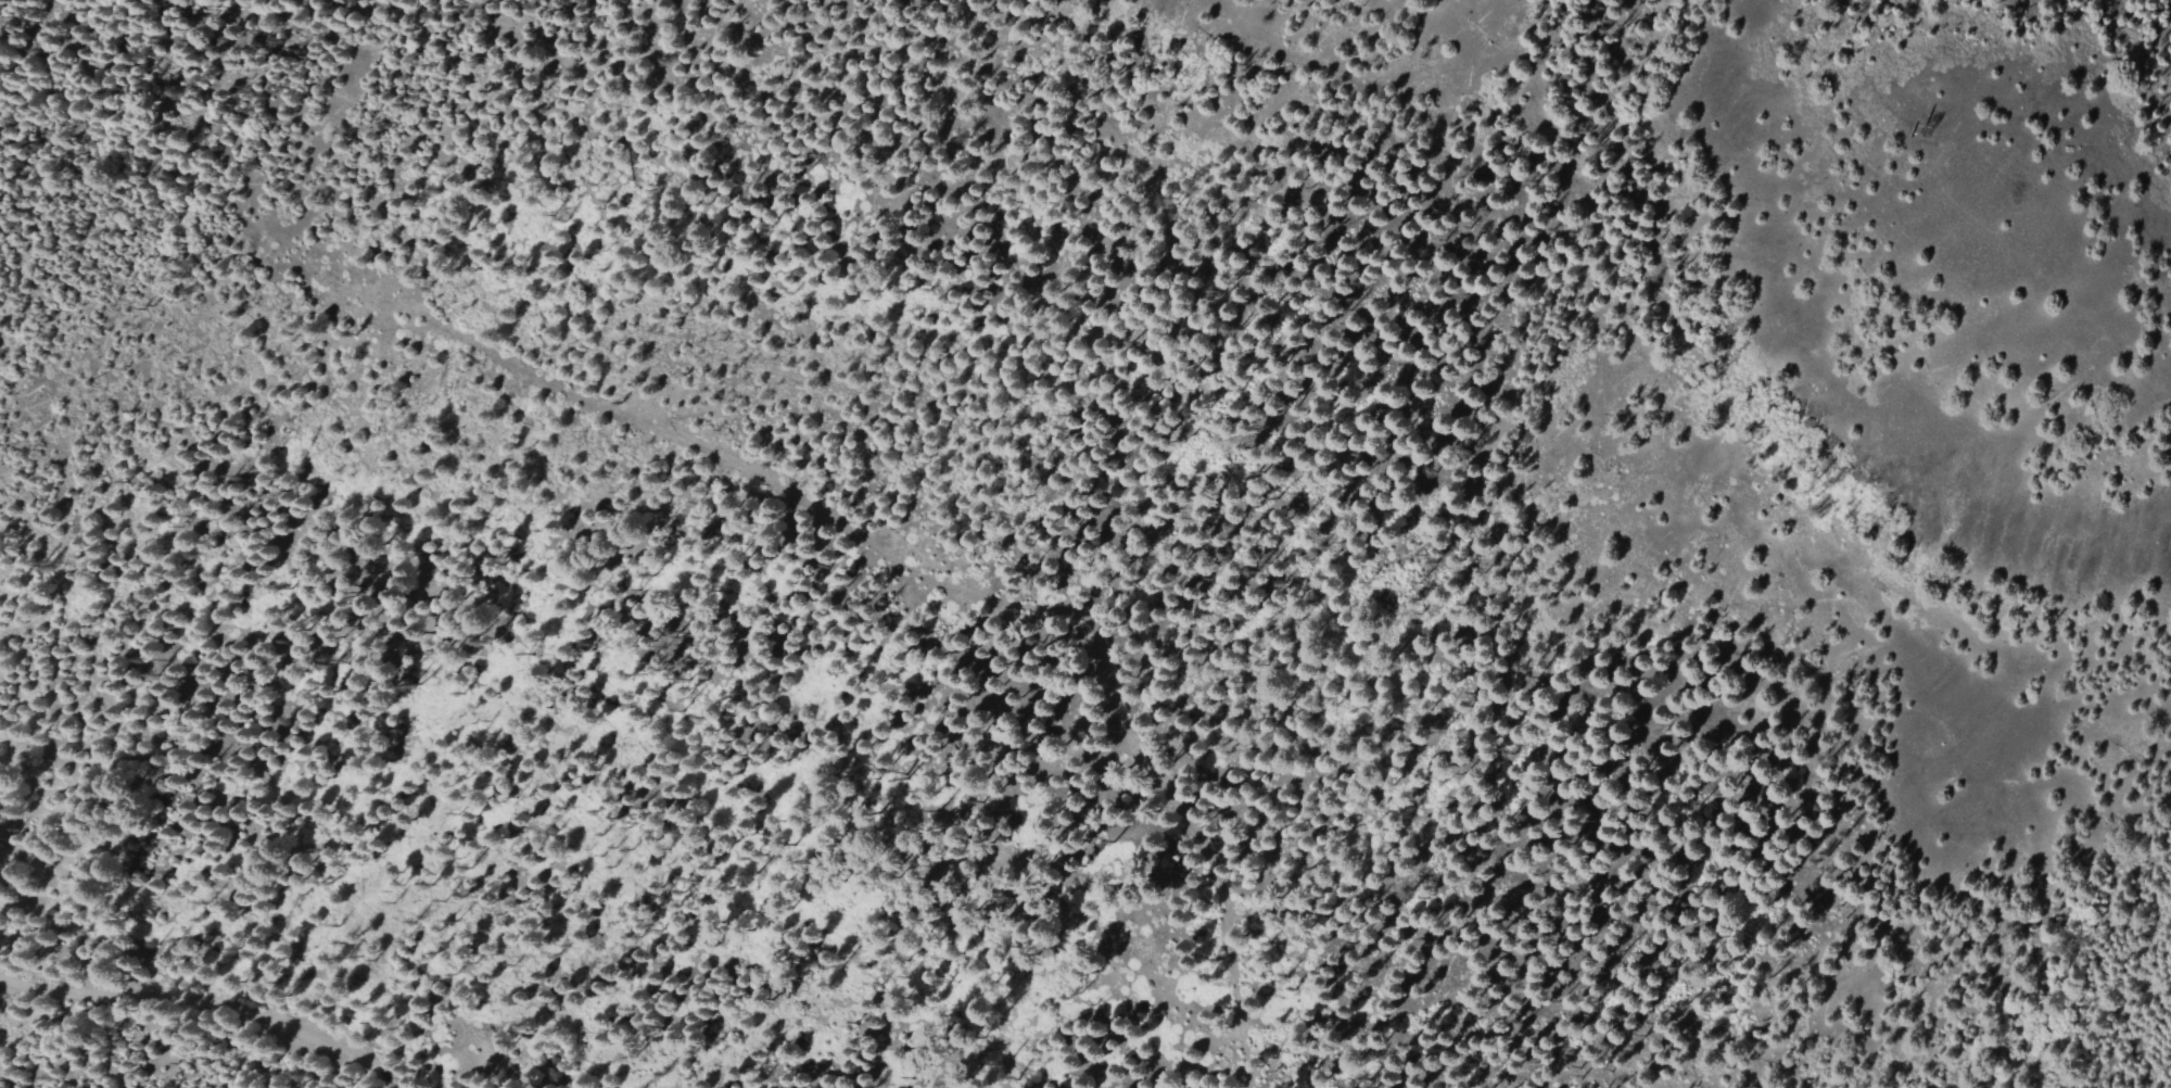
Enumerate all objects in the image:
road: (27, 34)
road: (914, 561)
road: (210, 1001)

